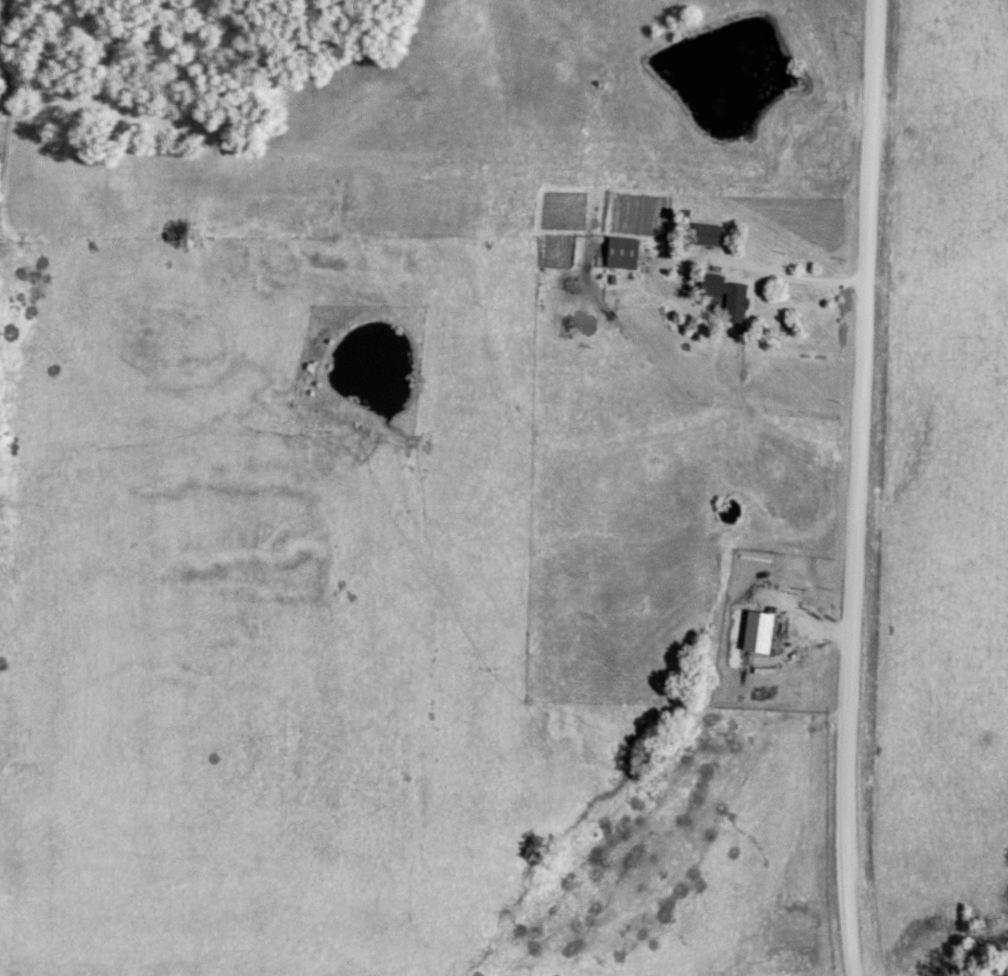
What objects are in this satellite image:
building: (706, 235)
building: (623, 254)
road: (795, 278)
building: (728, 297)
road: (863, 488)

